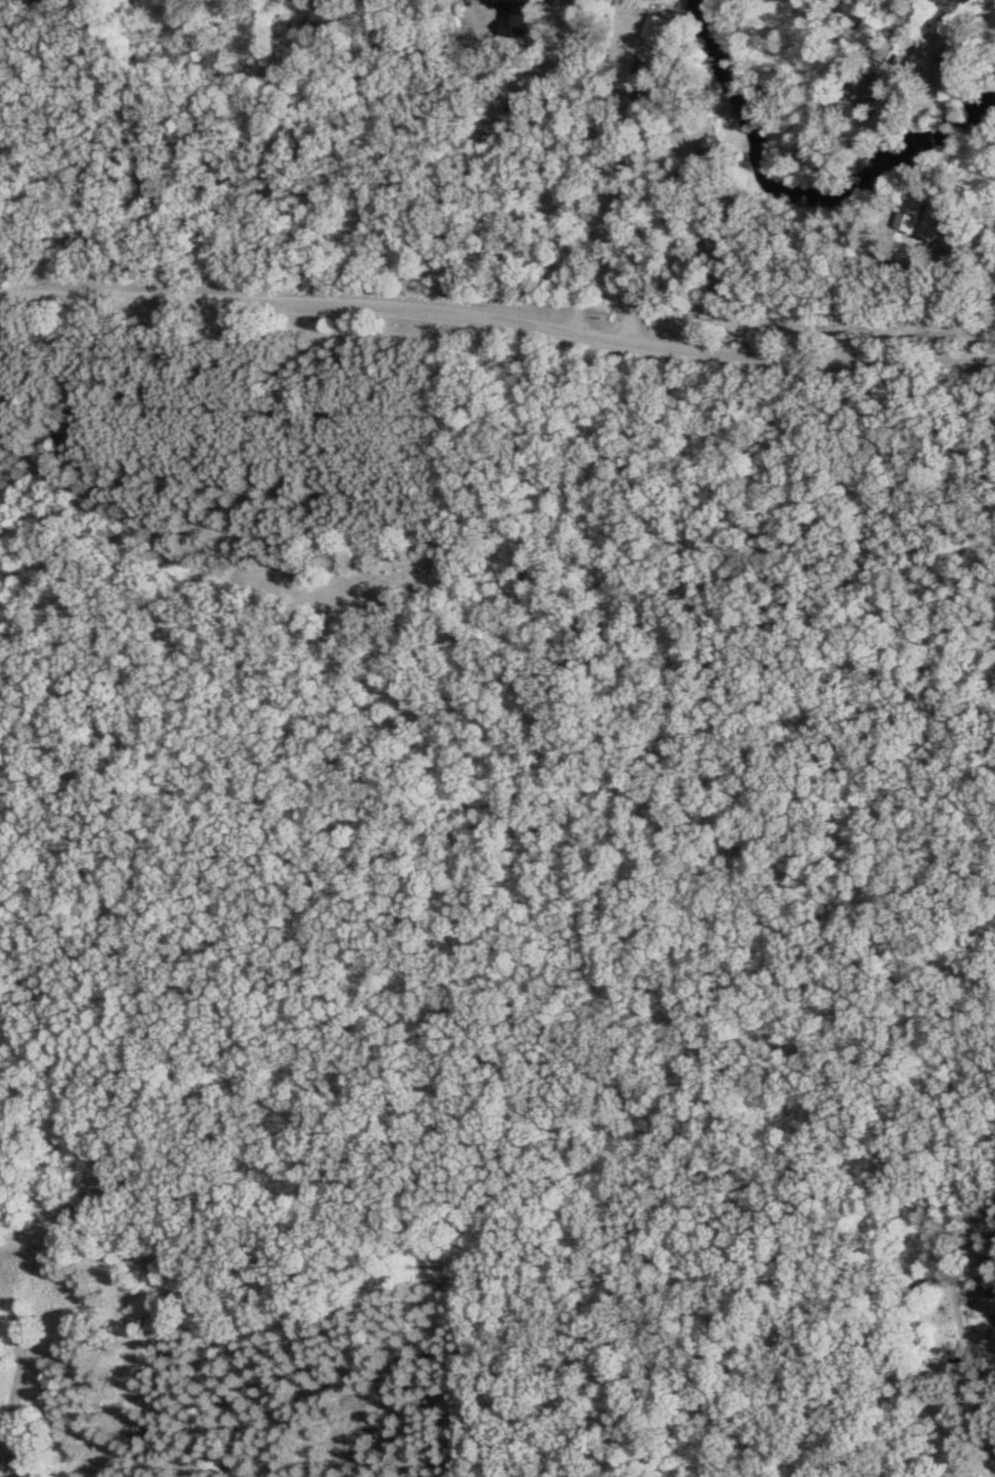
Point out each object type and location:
river: (799, 183)
building: (913, 214)
building: (935, 220)
building: (956, 233)
road: (498, 322)

